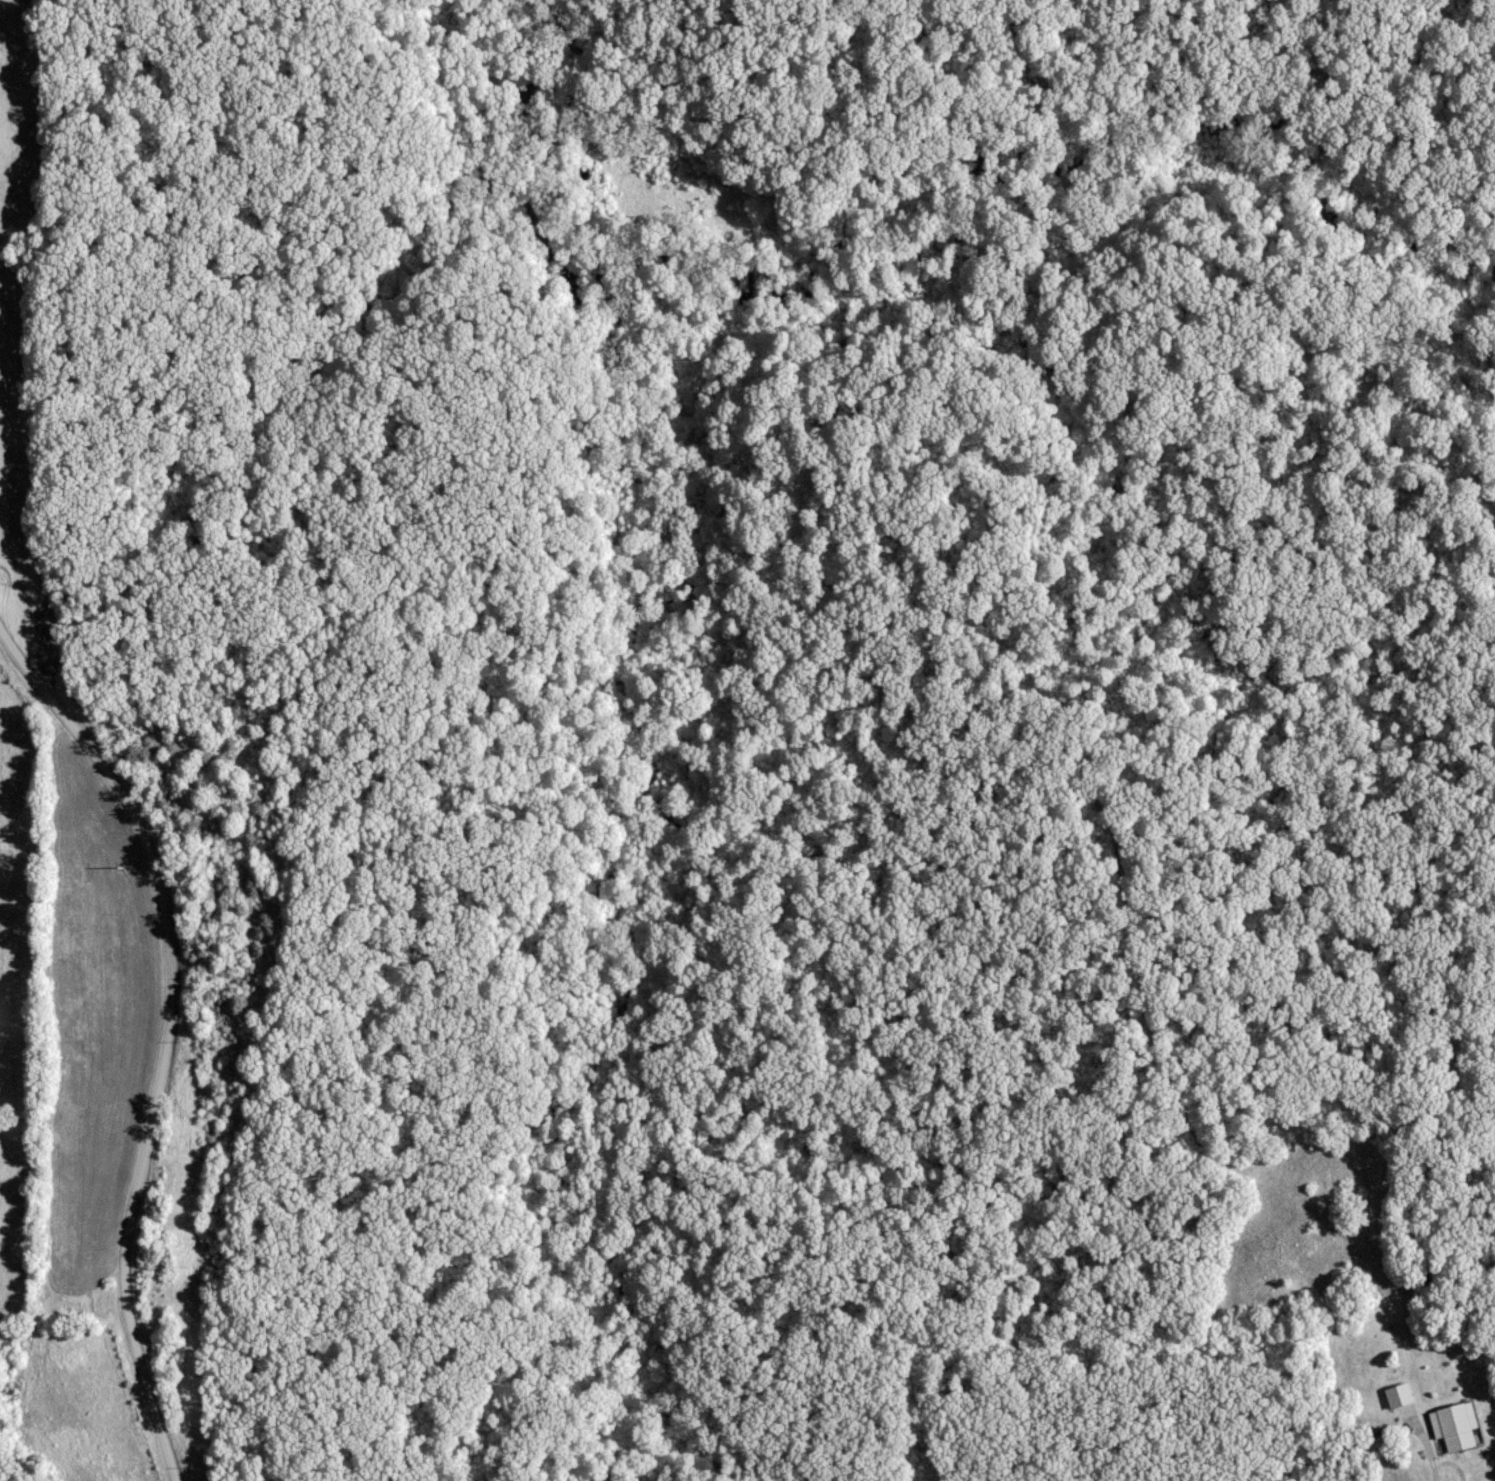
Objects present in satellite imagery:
road: (164, 1039)
building: (1400, 1396)
building: (1457, 1427)

